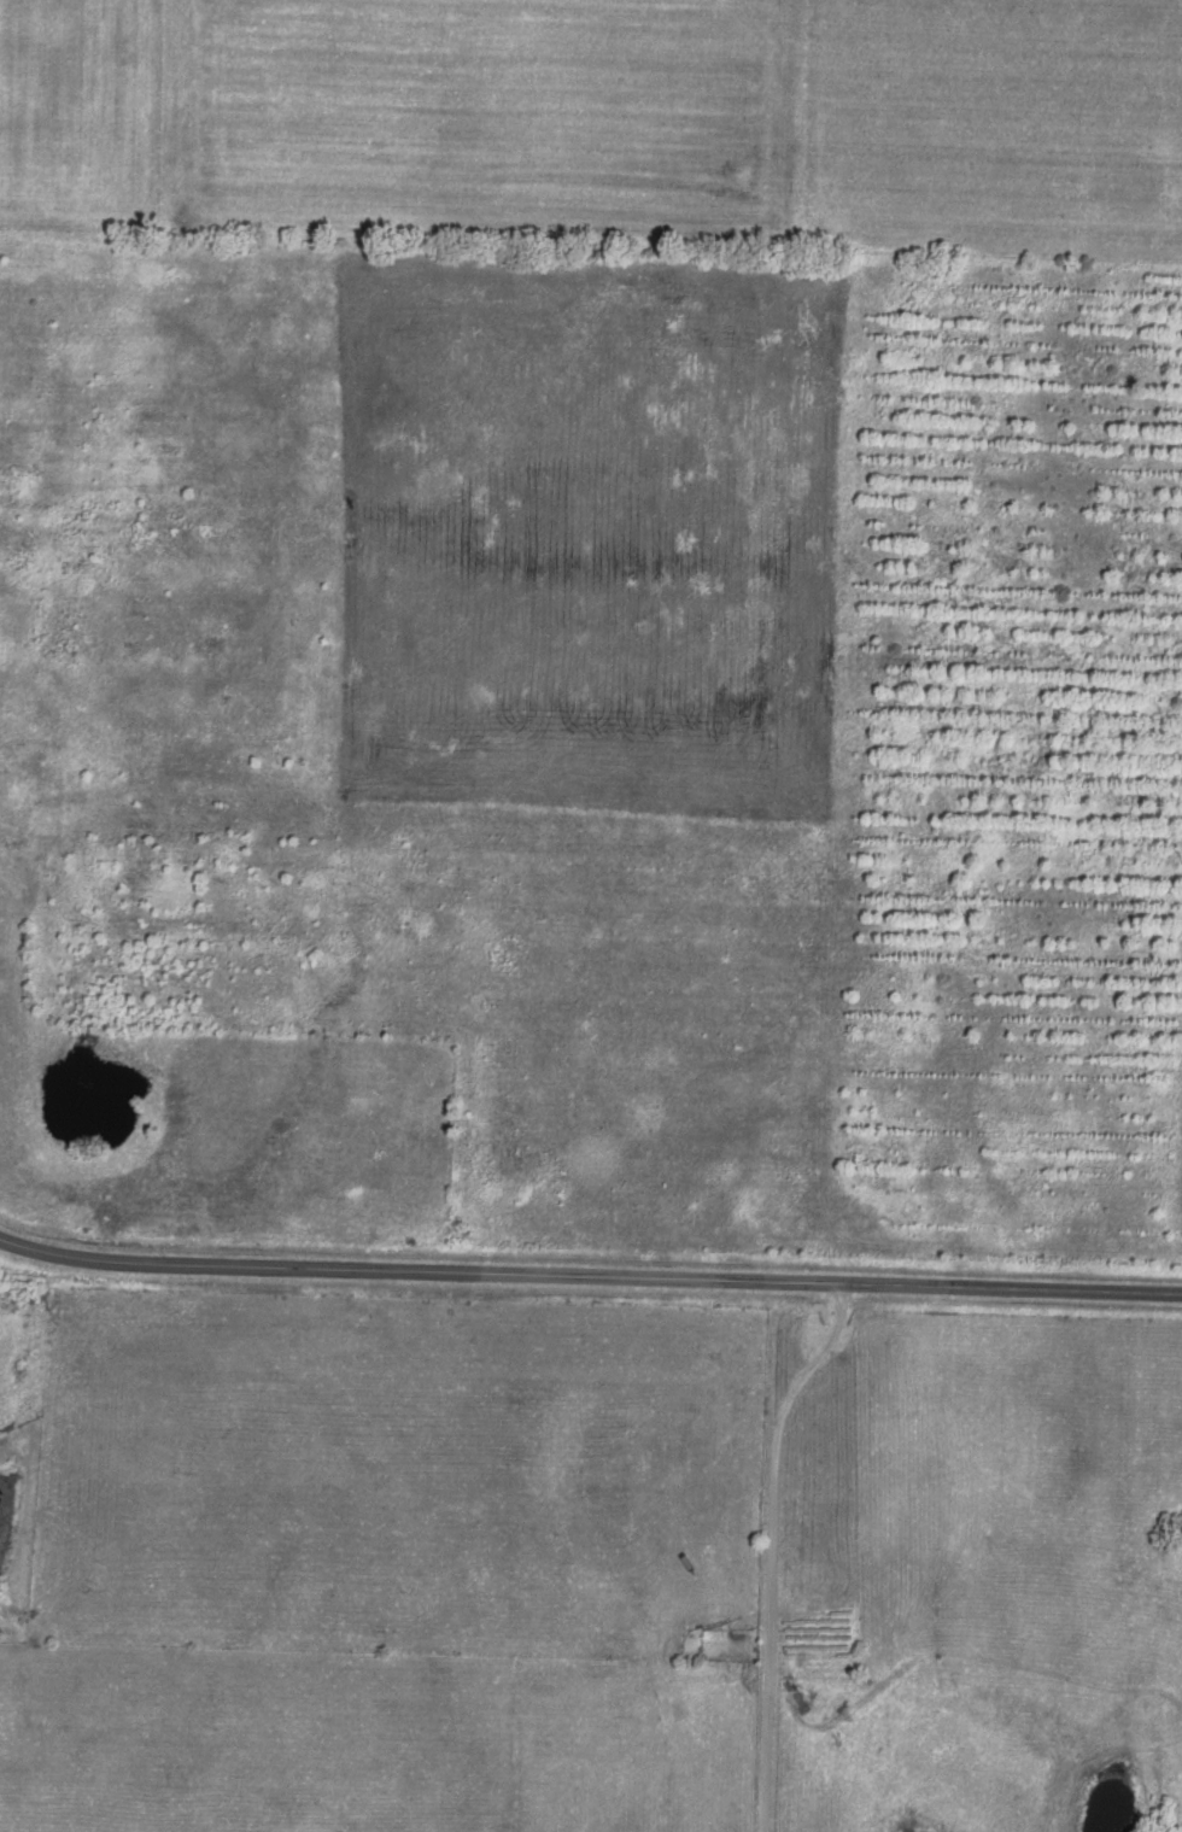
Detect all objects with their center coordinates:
road: (589, 1280)
road: (771, 1549)

